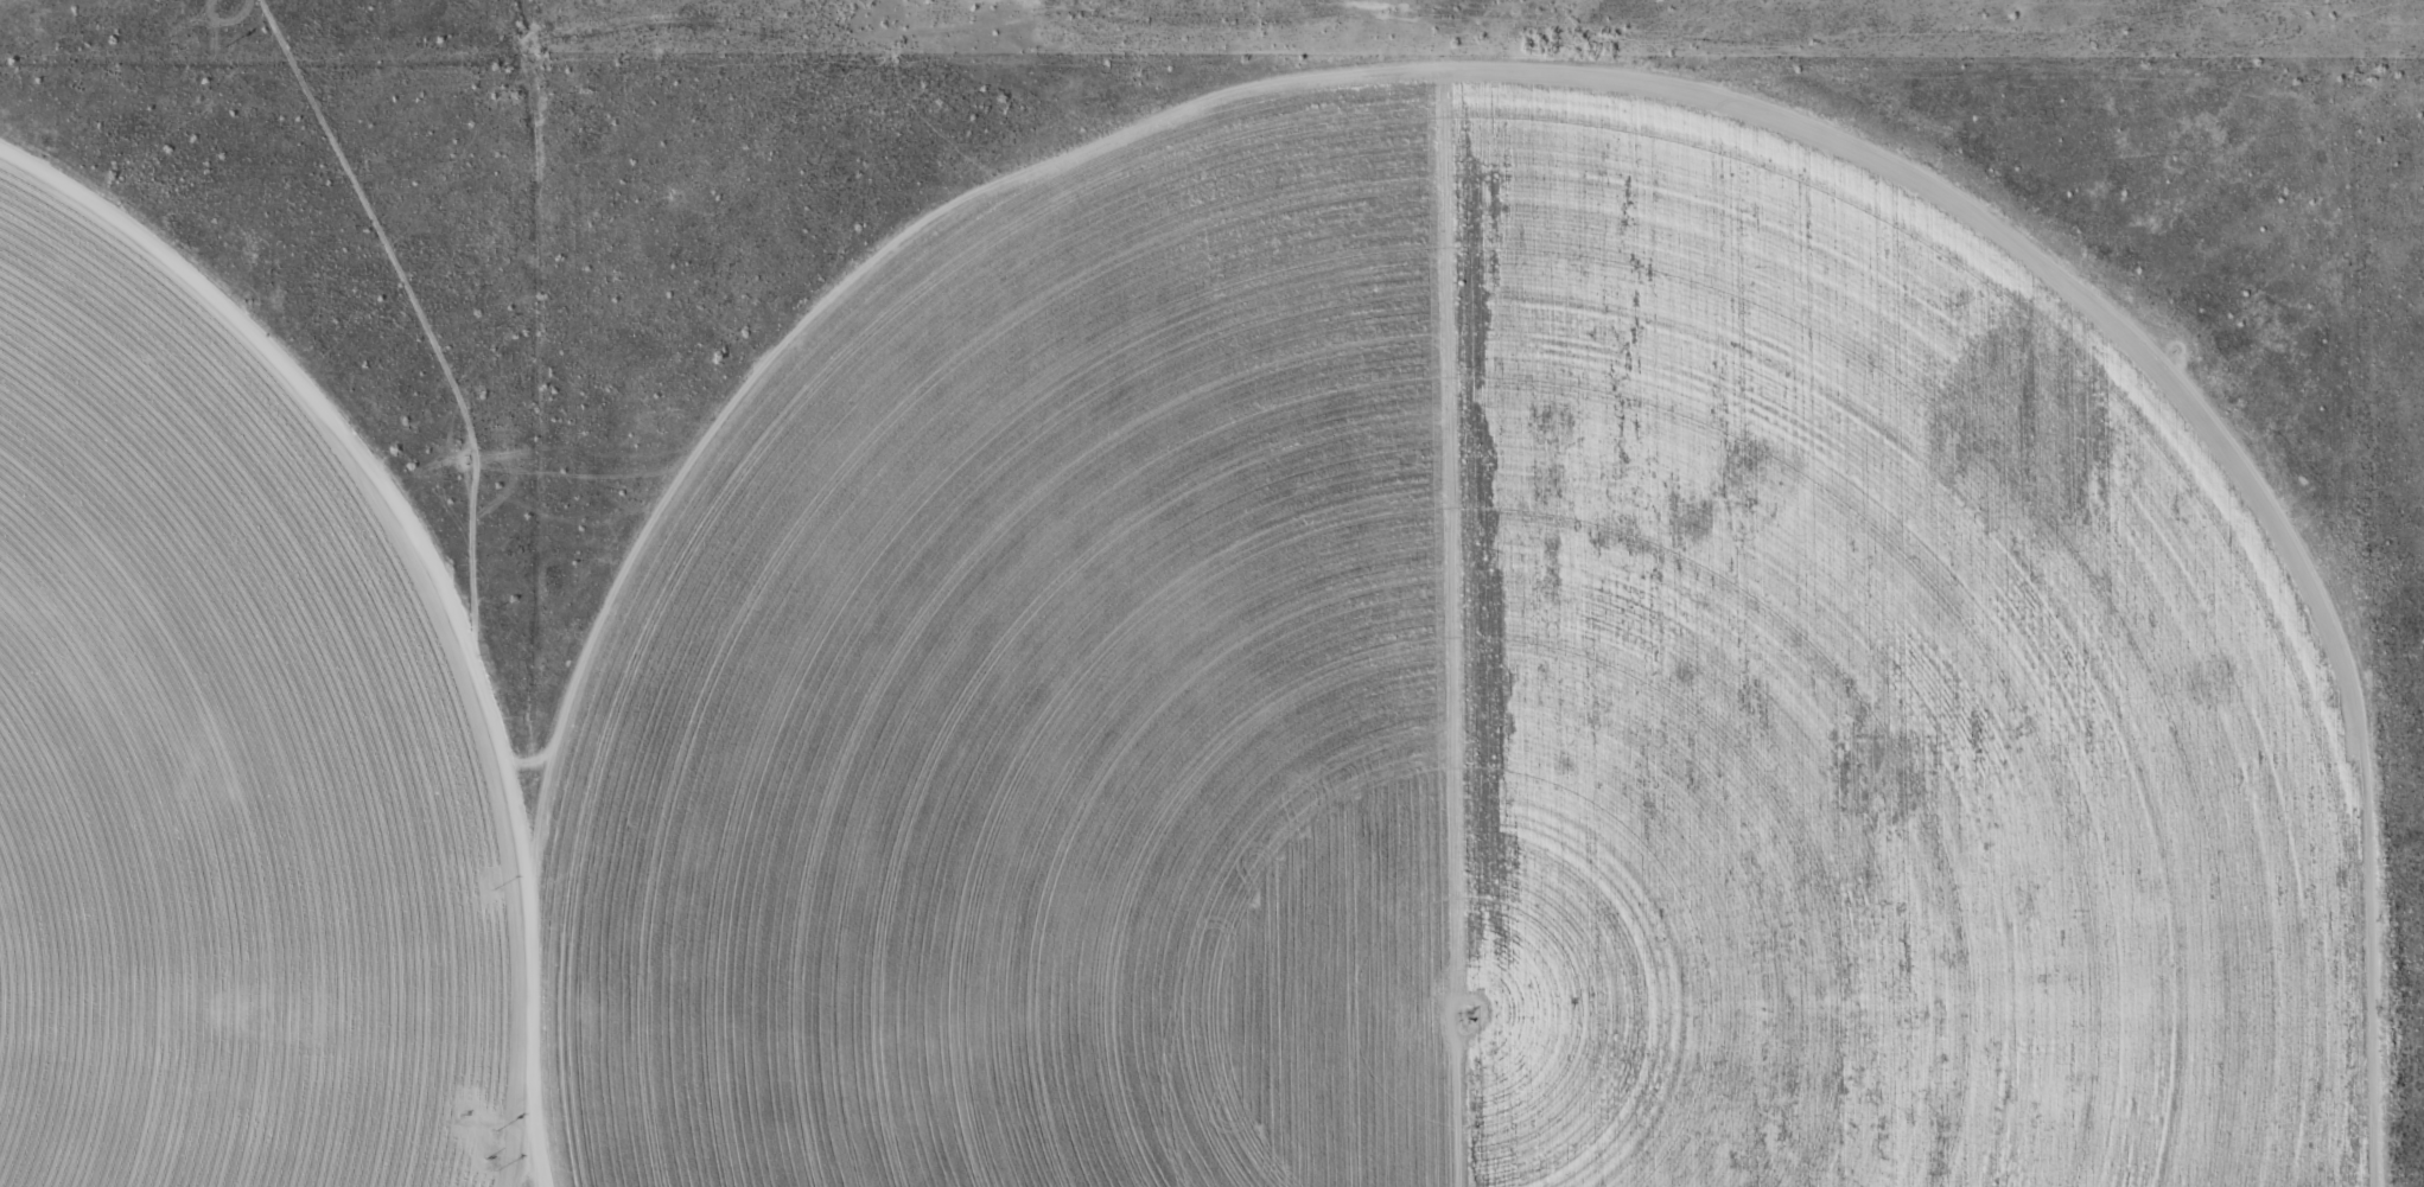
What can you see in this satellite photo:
road: (1211, 39)
road: (553, 1061)
road: (539, 1124)

